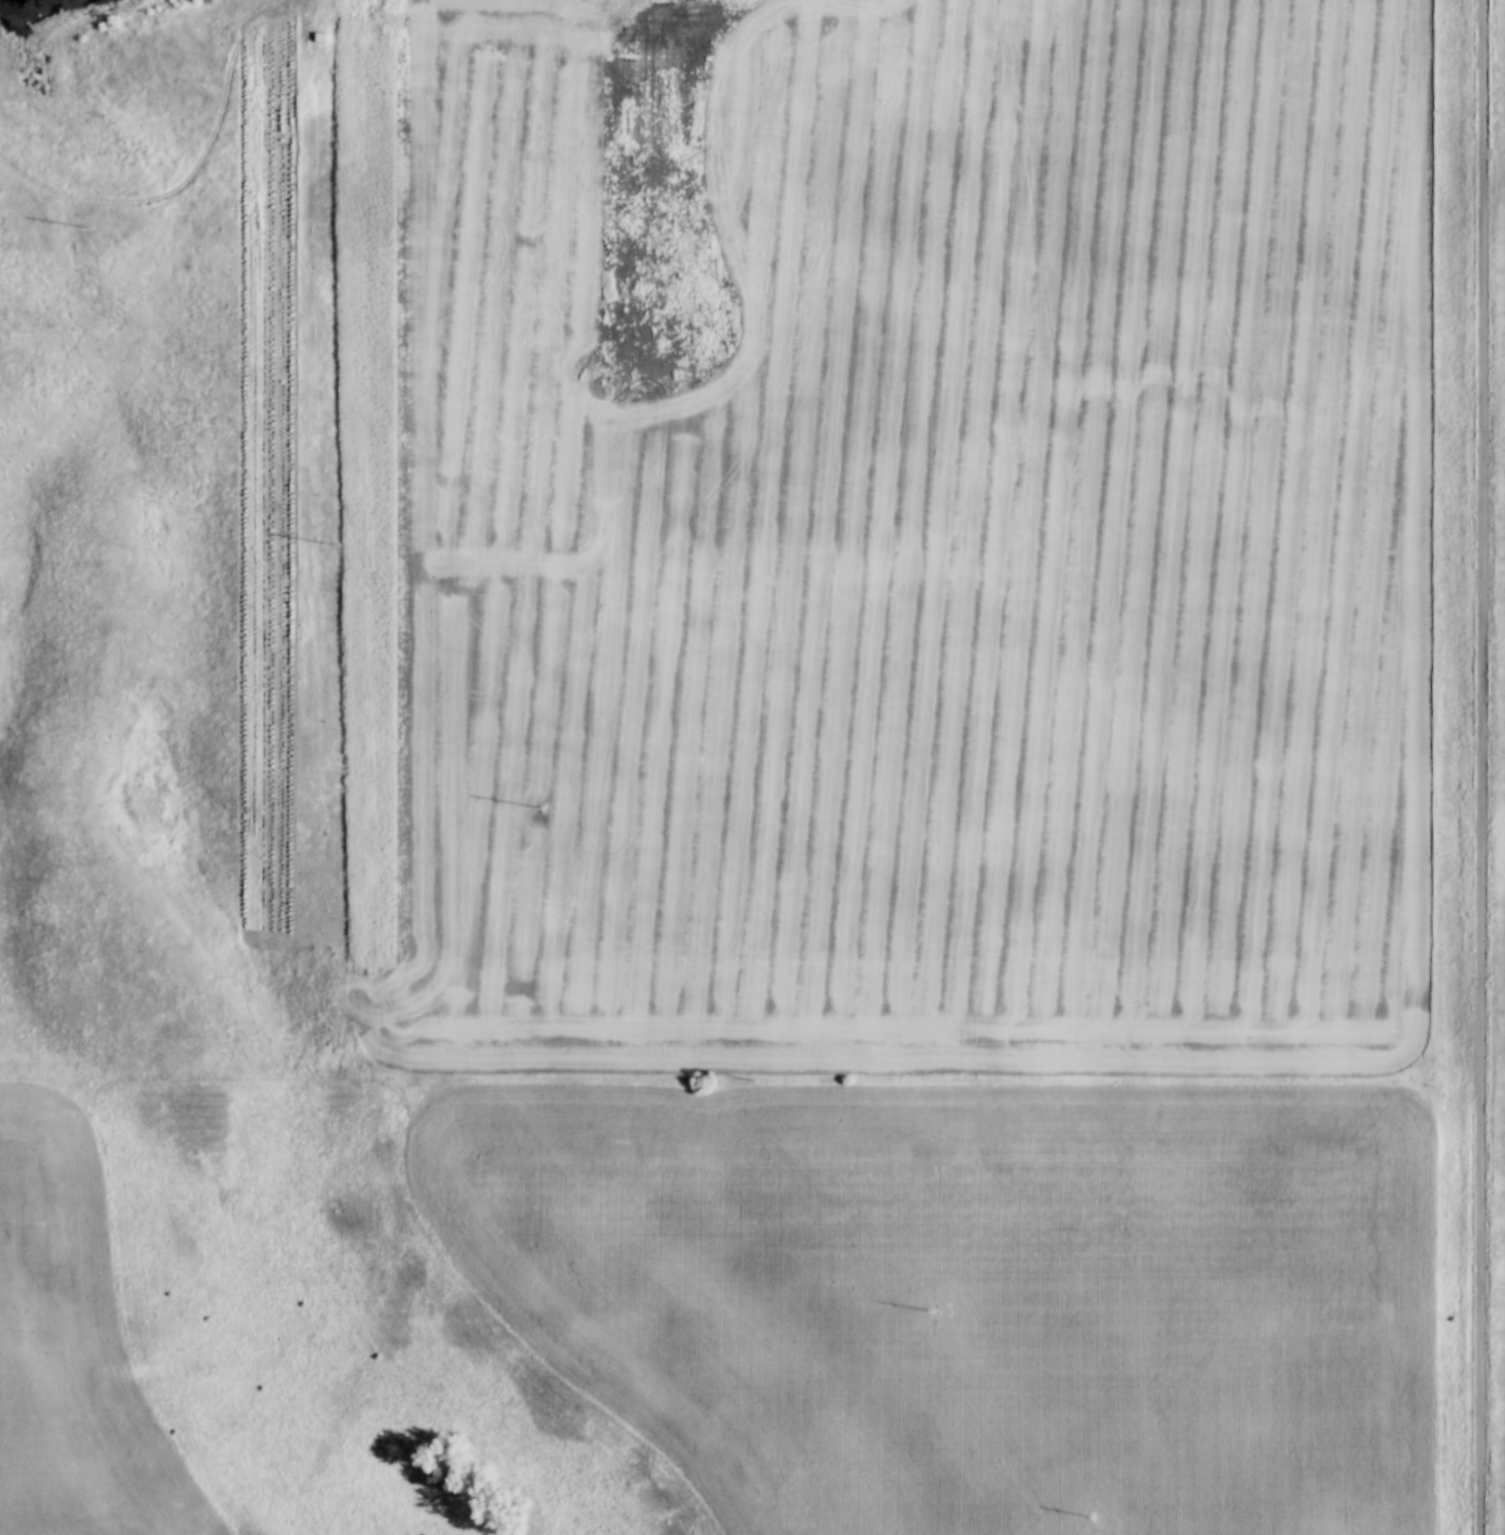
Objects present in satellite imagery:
road: (1483, 767)

